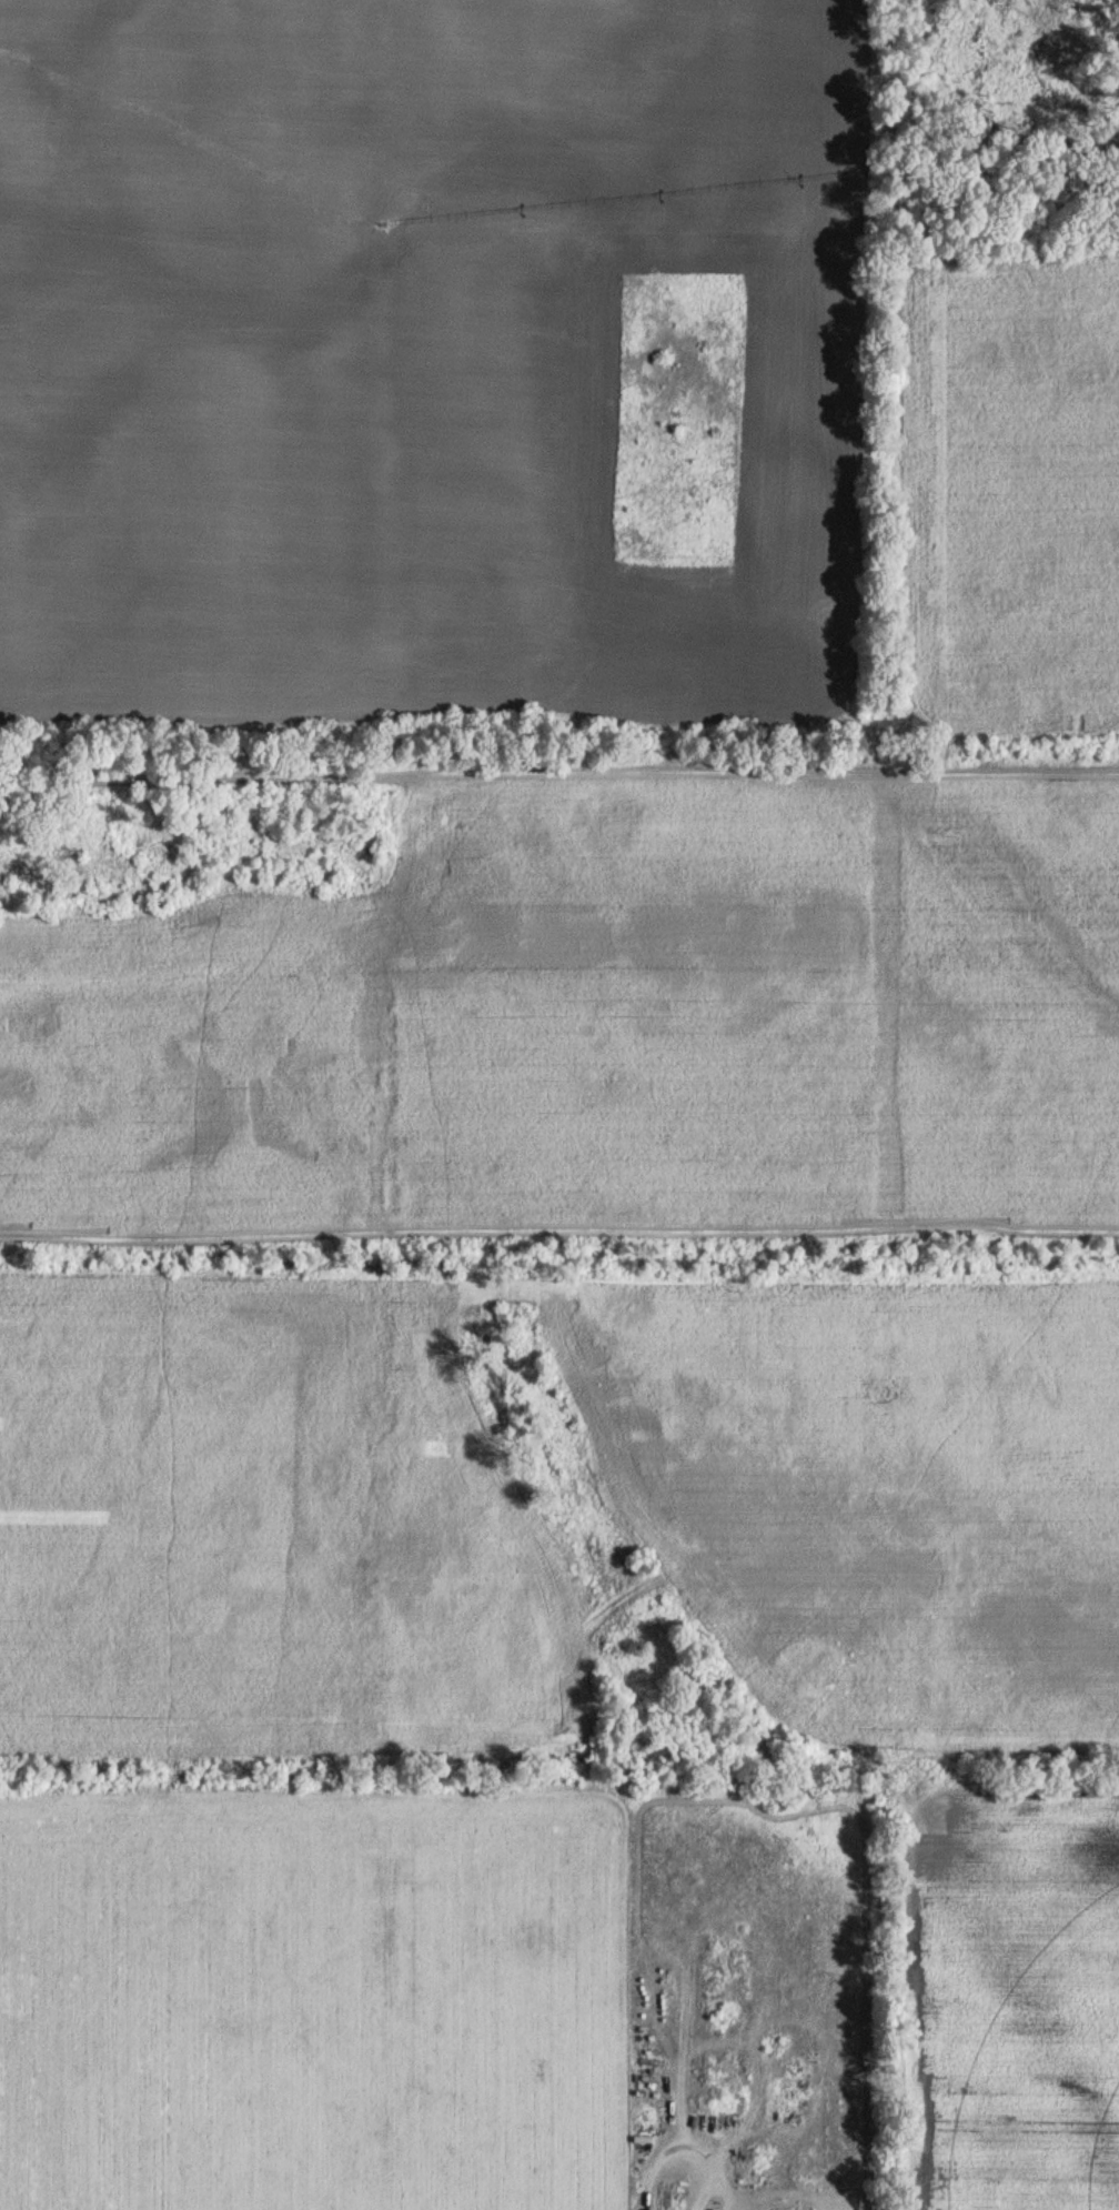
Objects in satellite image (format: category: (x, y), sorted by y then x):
road: (559, 725)

